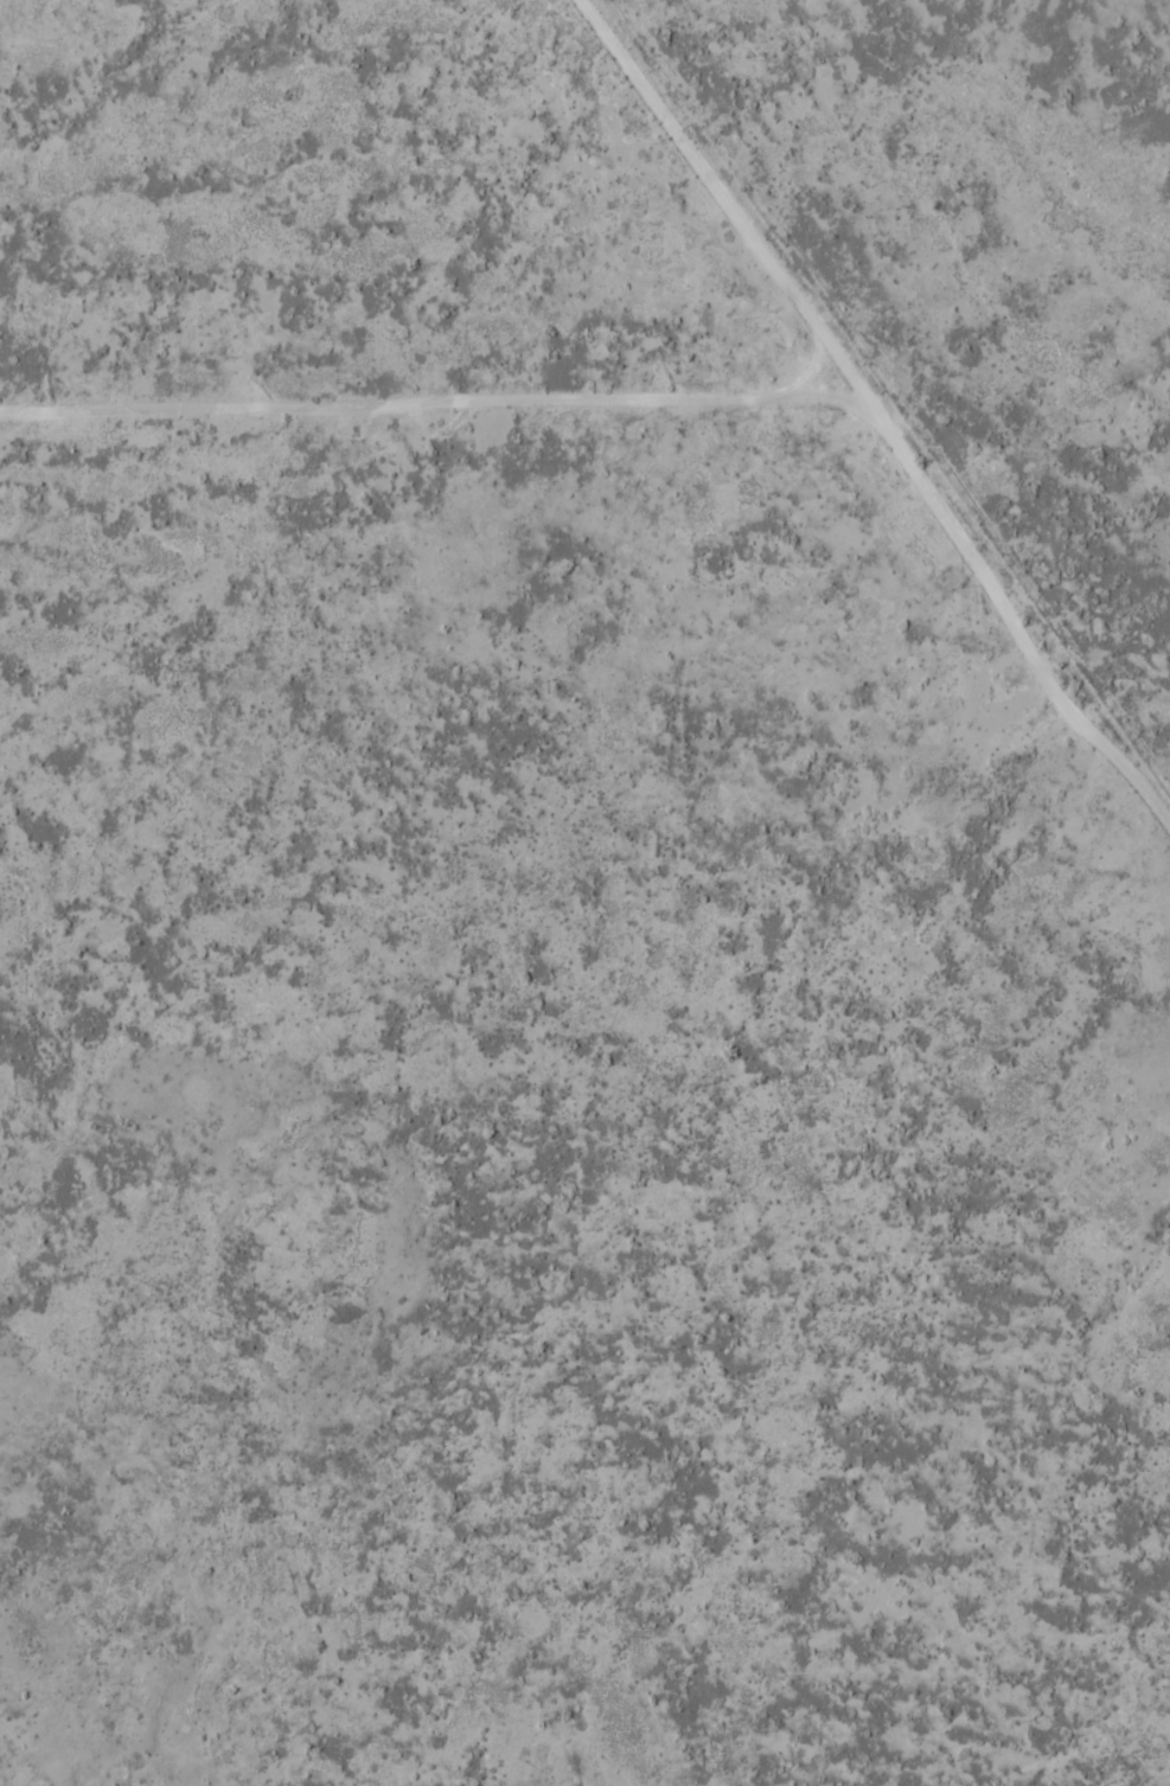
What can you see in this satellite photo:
road: (734, 201)
road: (696, 397)

